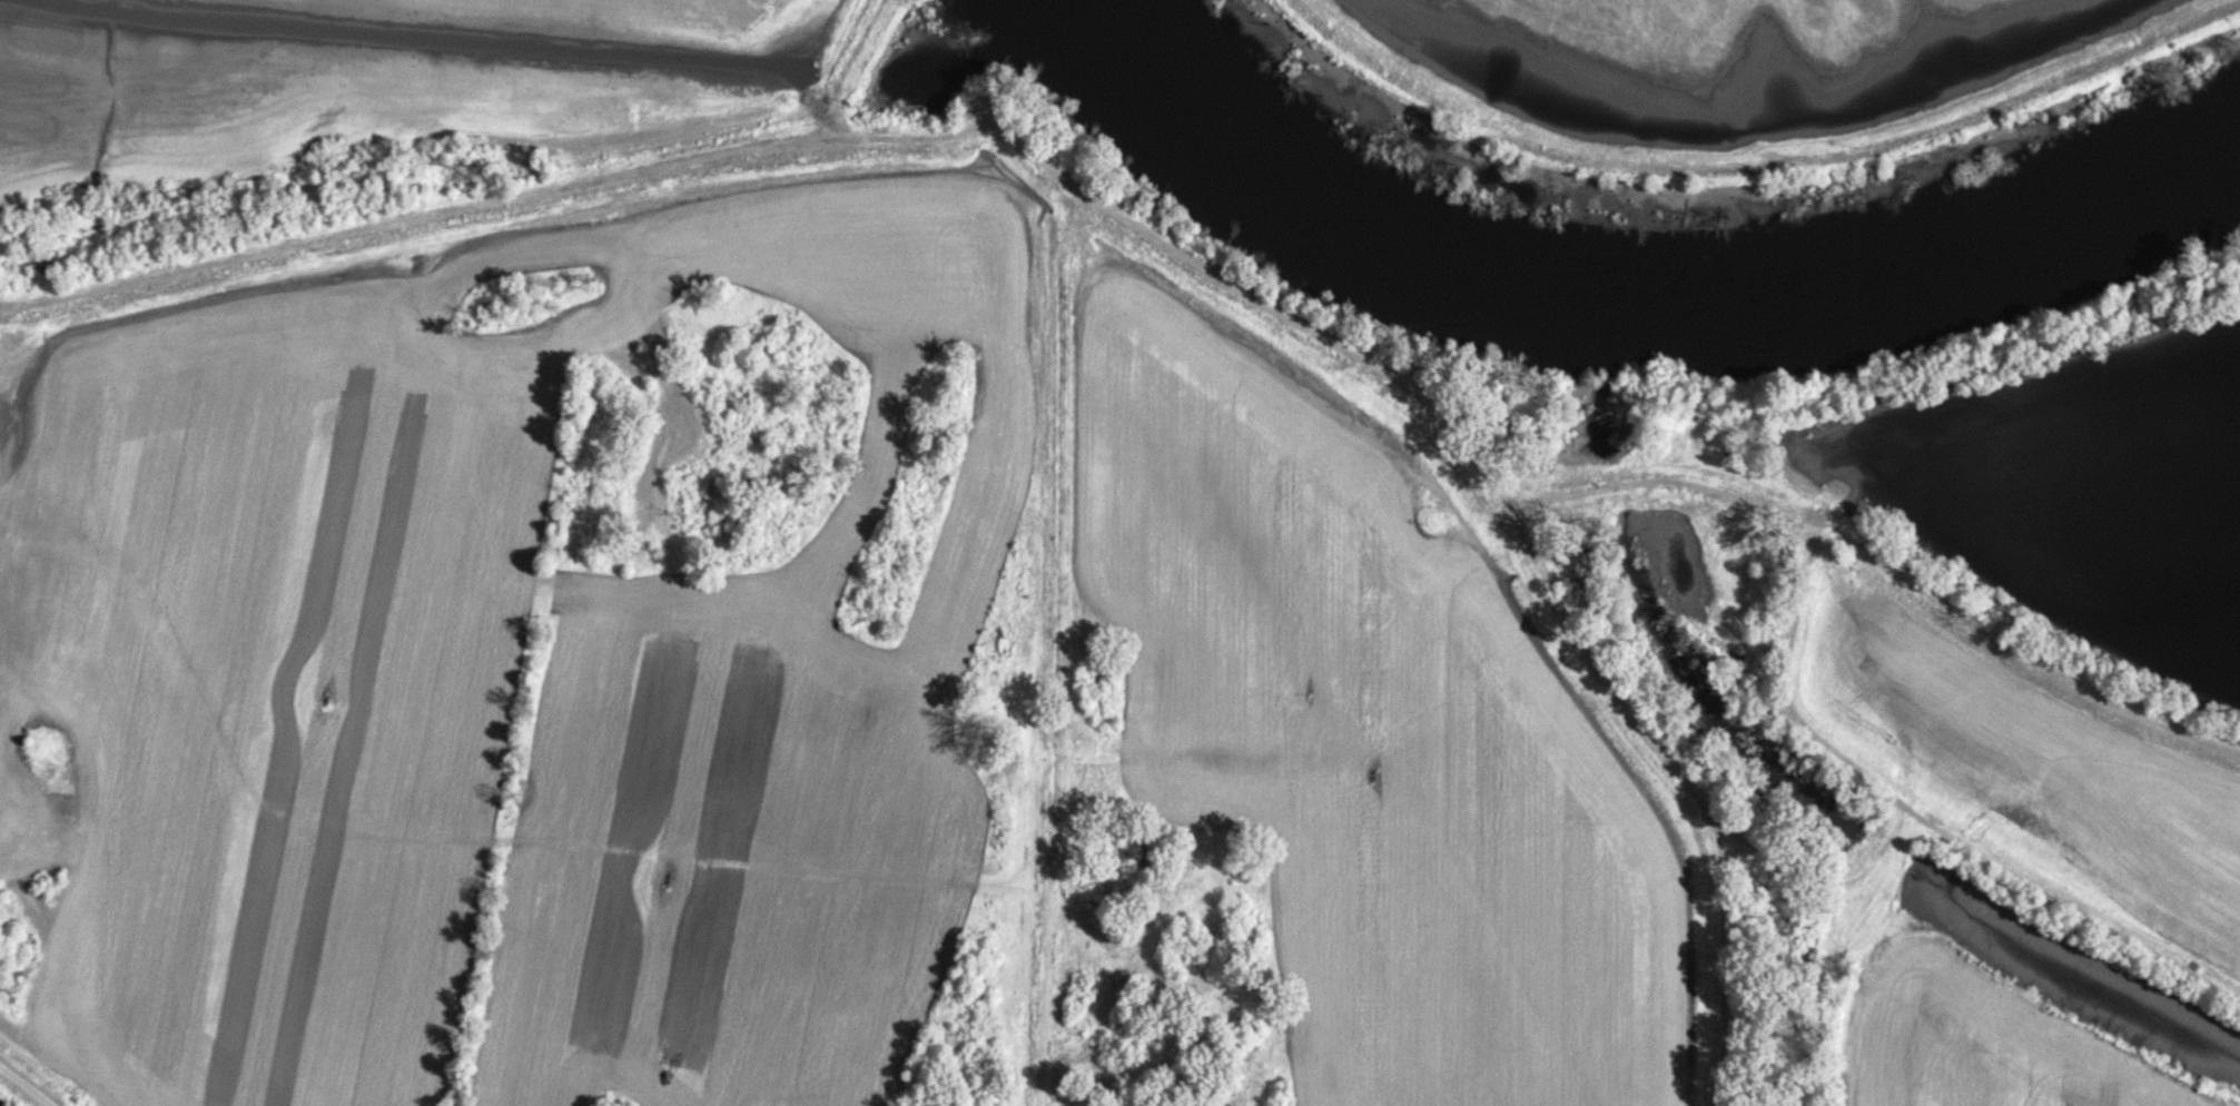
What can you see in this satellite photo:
road: (2016, 786)
road: (34, 1083)

